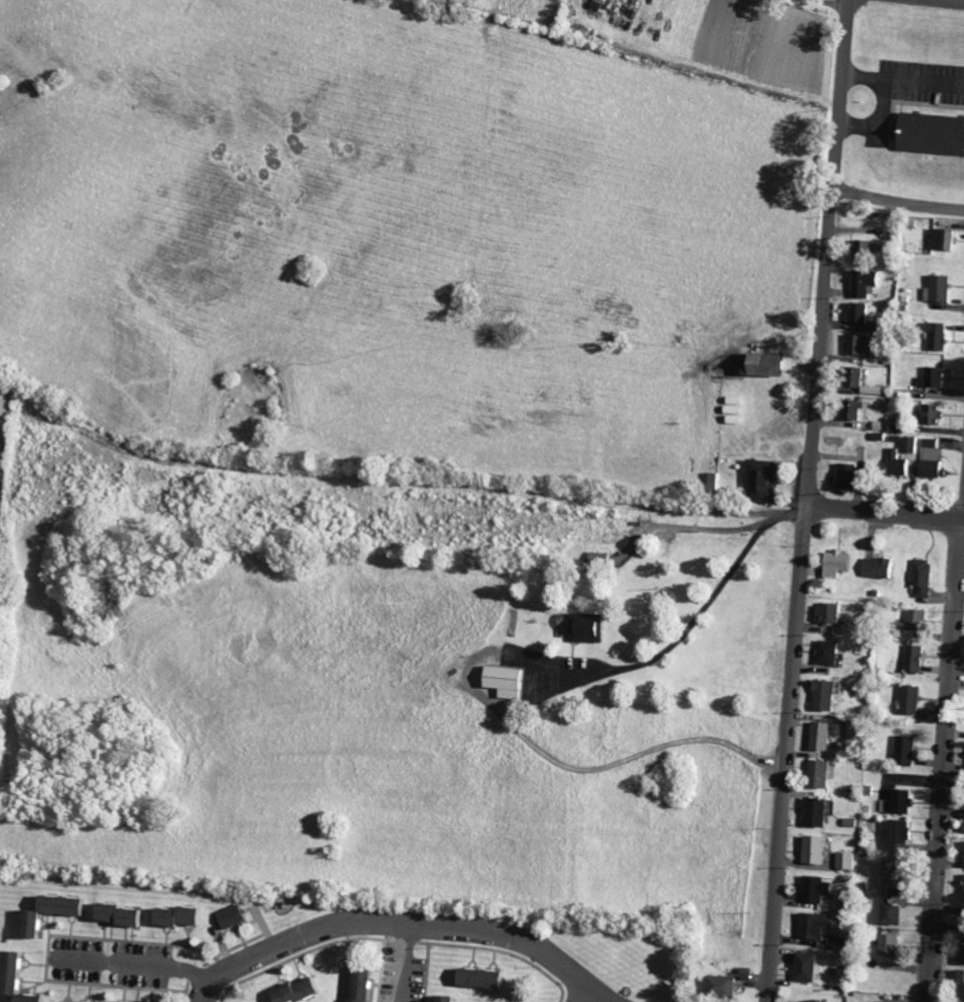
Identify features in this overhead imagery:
building: (603, 5)
road: (903, 83)
road: (879, 121)
building: (932, 133)
road: (898, 197)
building: (946, 239)
building: (869, 248)
road: (828, 252)
building: (868, 282)
building: (944, 289)
building: (862, 312)
building: (941, 336)
building: (863, 343)
building: (770, 364)
building: (859, 377)
building: (937, 377)
building: (735, 410)
building: (857, 410)
building: (938, 413)
building: (912, 444)
building: (936, 459)
building: (901, 463)
building: (852, 475)
building: (766, 480)
road: (713, 499)
road: (963, 514)
building: (842, 563)
building: (882, 567)
building: (926, 577)
building: (835, 612)
building: (918, 622)
building: (591, 627)
building: (833, 653)
building: (918, 658)
building: (510, 681)
building: (829, 695)
building: (913, 699)
building: (827, 736)
building: (909, 750)
road: (788, 753)
road: (944, 760)
building: (825, 774)
building: (902, 802)
building: (821, 812)
building: (903, 835)
building: (820, 850)
building: (850, 861)
building: (900, 875)
building: (819, 889)
building: (67, 905)
building: (894, 912)
building: (125, 915)
building: (185, 917)
building: (235, 917)
road: (355, 921)
building: (36, 924)
building: (824, 929)
building: (892, 945)
building: (963, 951)
road: (407, 960)
building: (811, 967)
building: (16, 973)
building: (487, 978)
building: (962, 983)
building: (367, 984)
road: (208, 986)
building: (727, 986)
building: (304, 991)
road: (589, 991)
building: (36, 998)
building: (451, 999)
building: (816, 1001)

